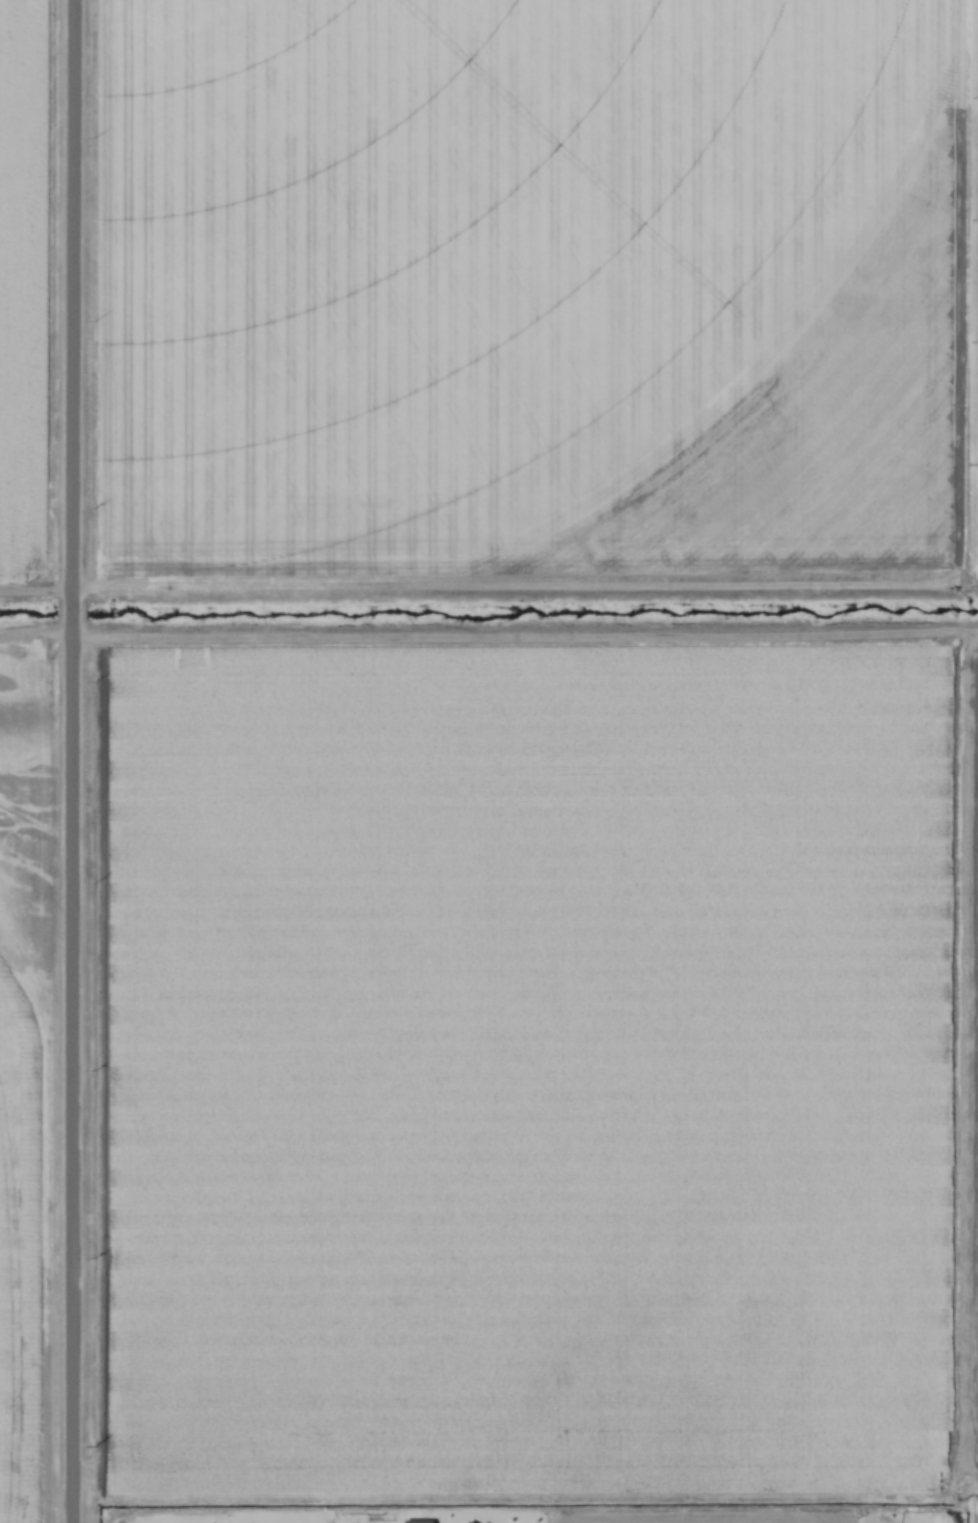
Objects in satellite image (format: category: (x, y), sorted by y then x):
road: (73, 301)
road: (71, 616)
road: (71, 990)
road: (72, 1436)
building: (419, 1521)
building: (473, 1522)
building: (484, 1522)

